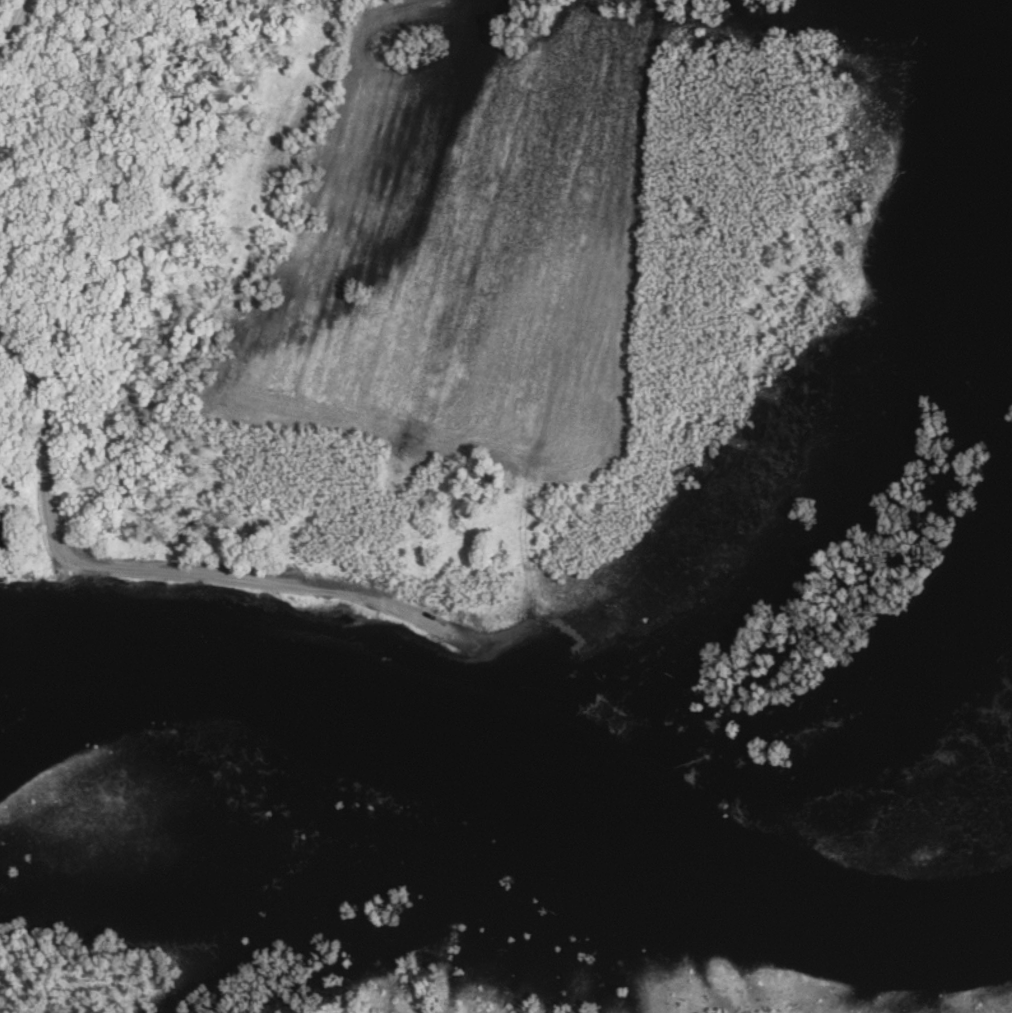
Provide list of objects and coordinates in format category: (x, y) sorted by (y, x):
road: (13, 22)
road: (161, 573)

